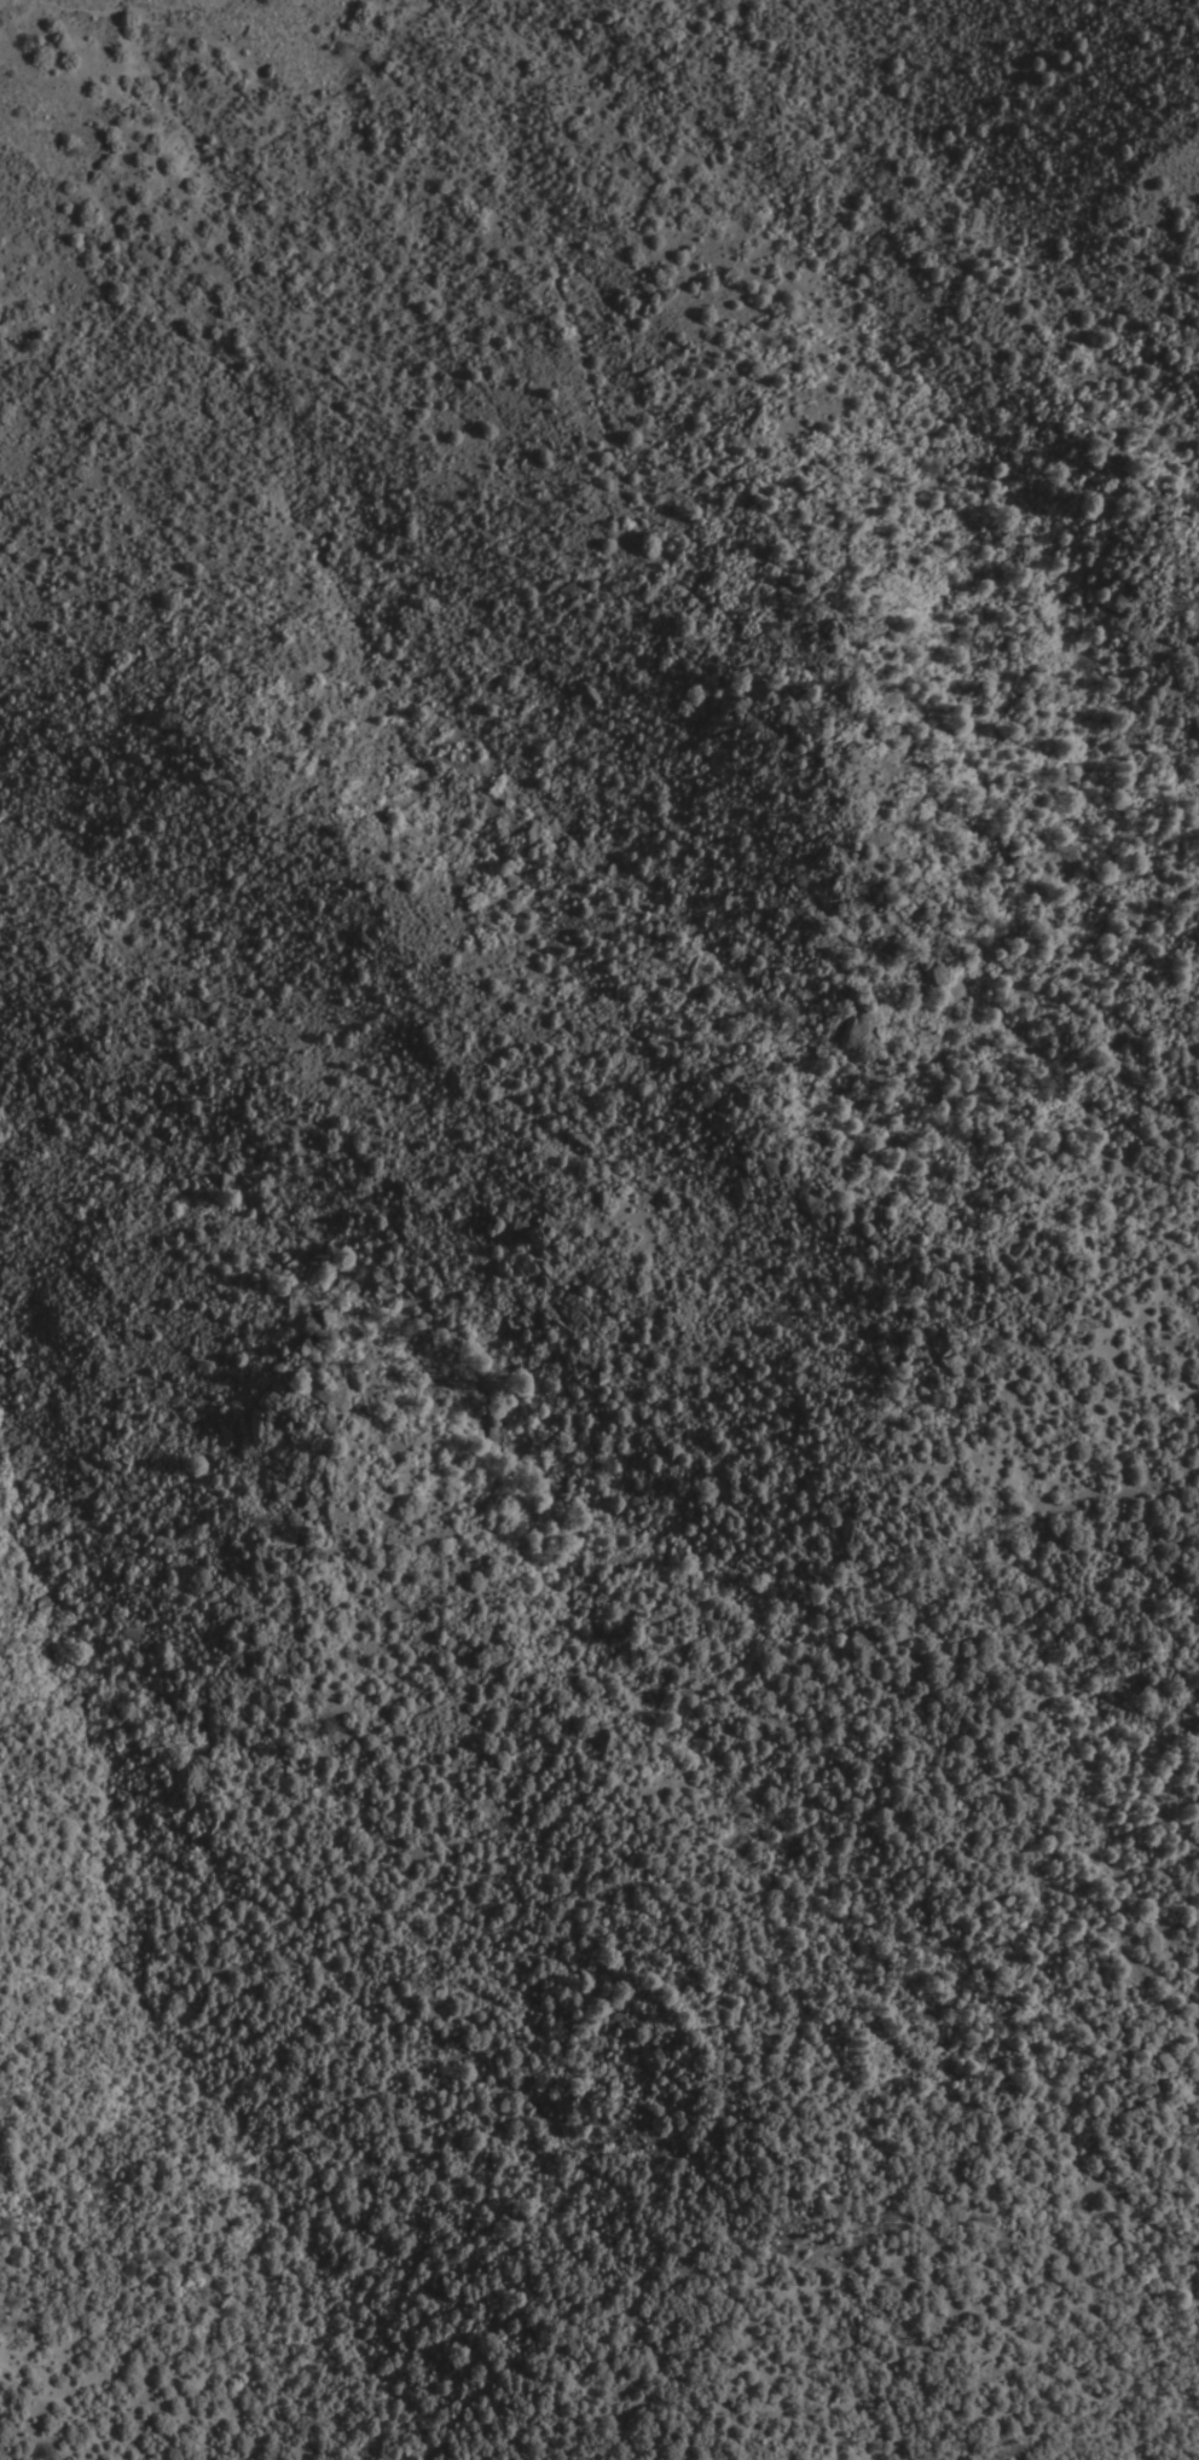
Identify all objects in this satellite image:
road: (75, 8)
road: (888, 2232)
road: (74, 2415)
road: (168, 2423)

